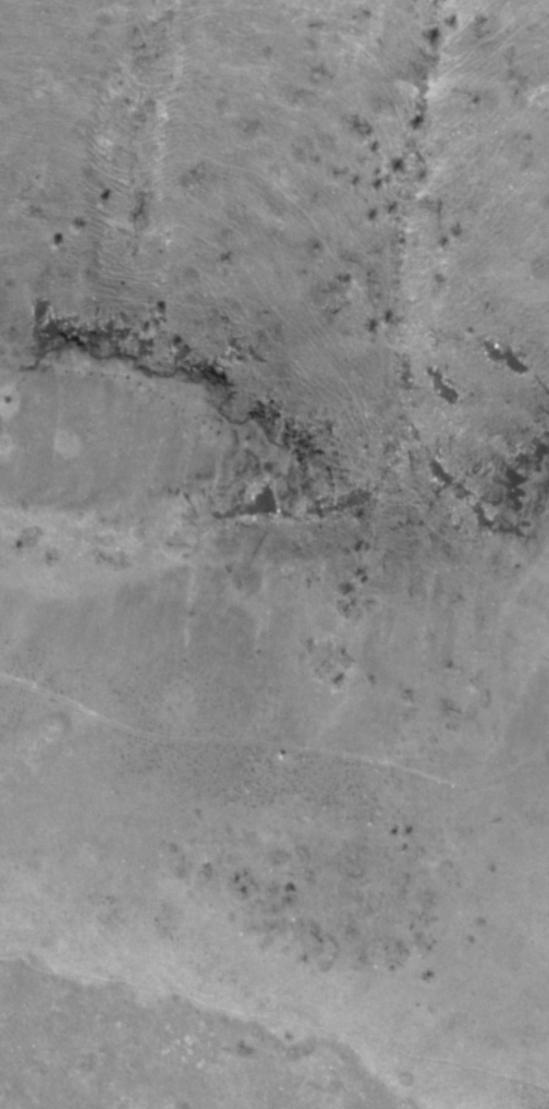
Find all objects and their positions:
road: (271, 1017)

